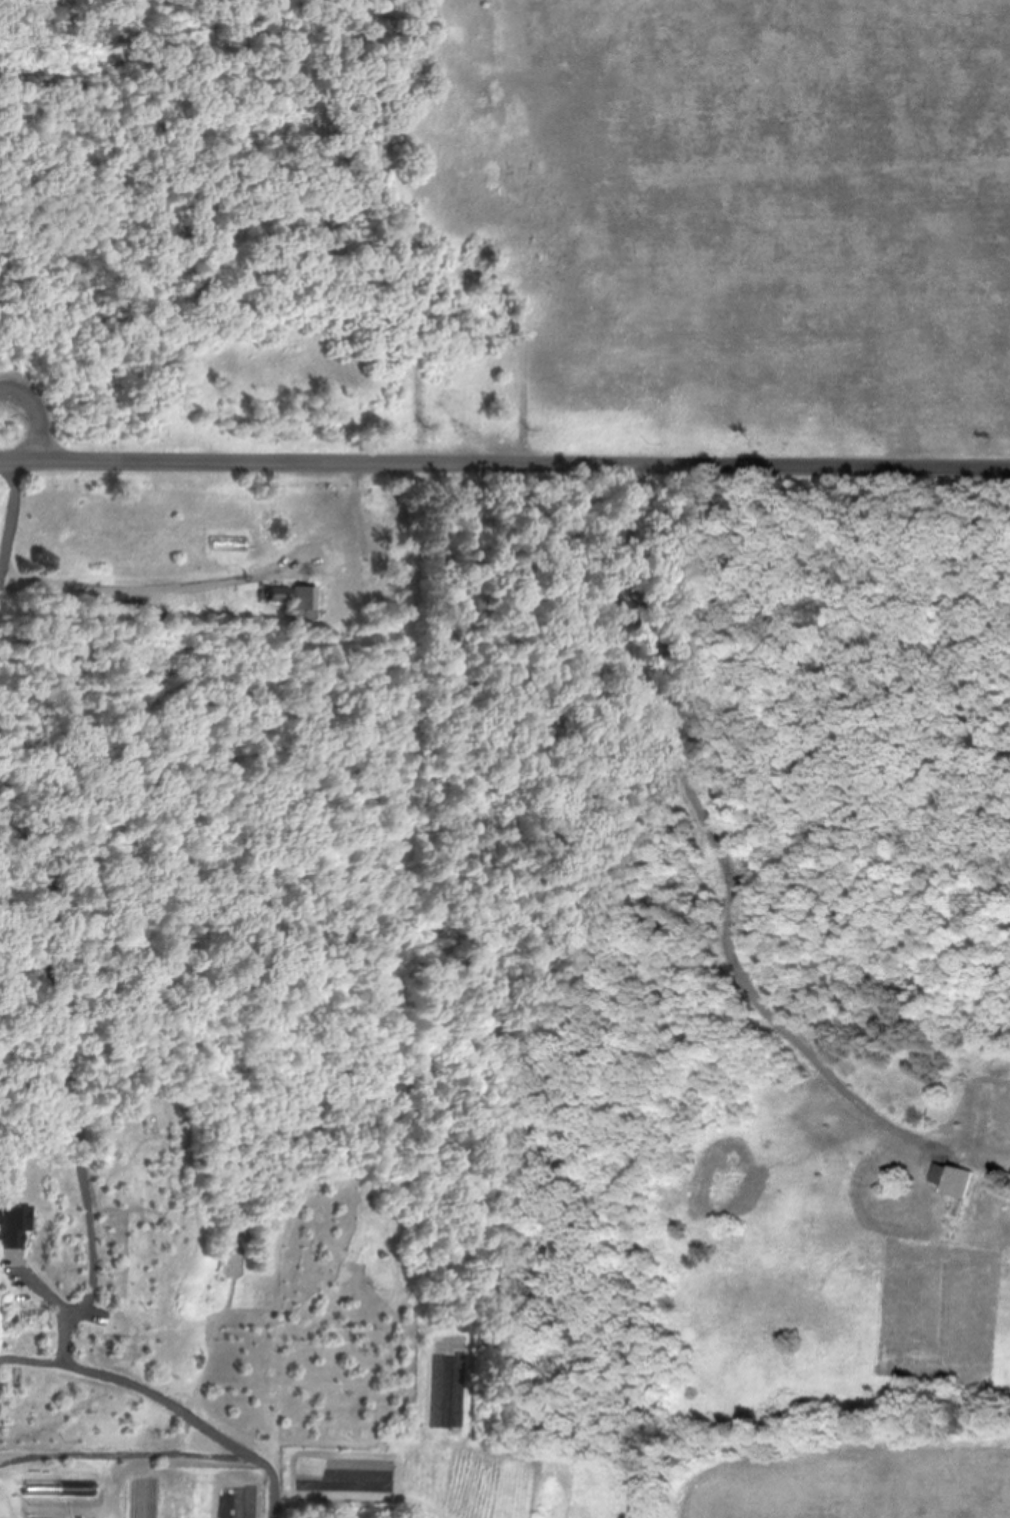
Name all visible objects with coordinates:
park: (510, 209)
road: (504, 463)
building: (293, 601)
road: (192, 824)
building: (9, 1226)

